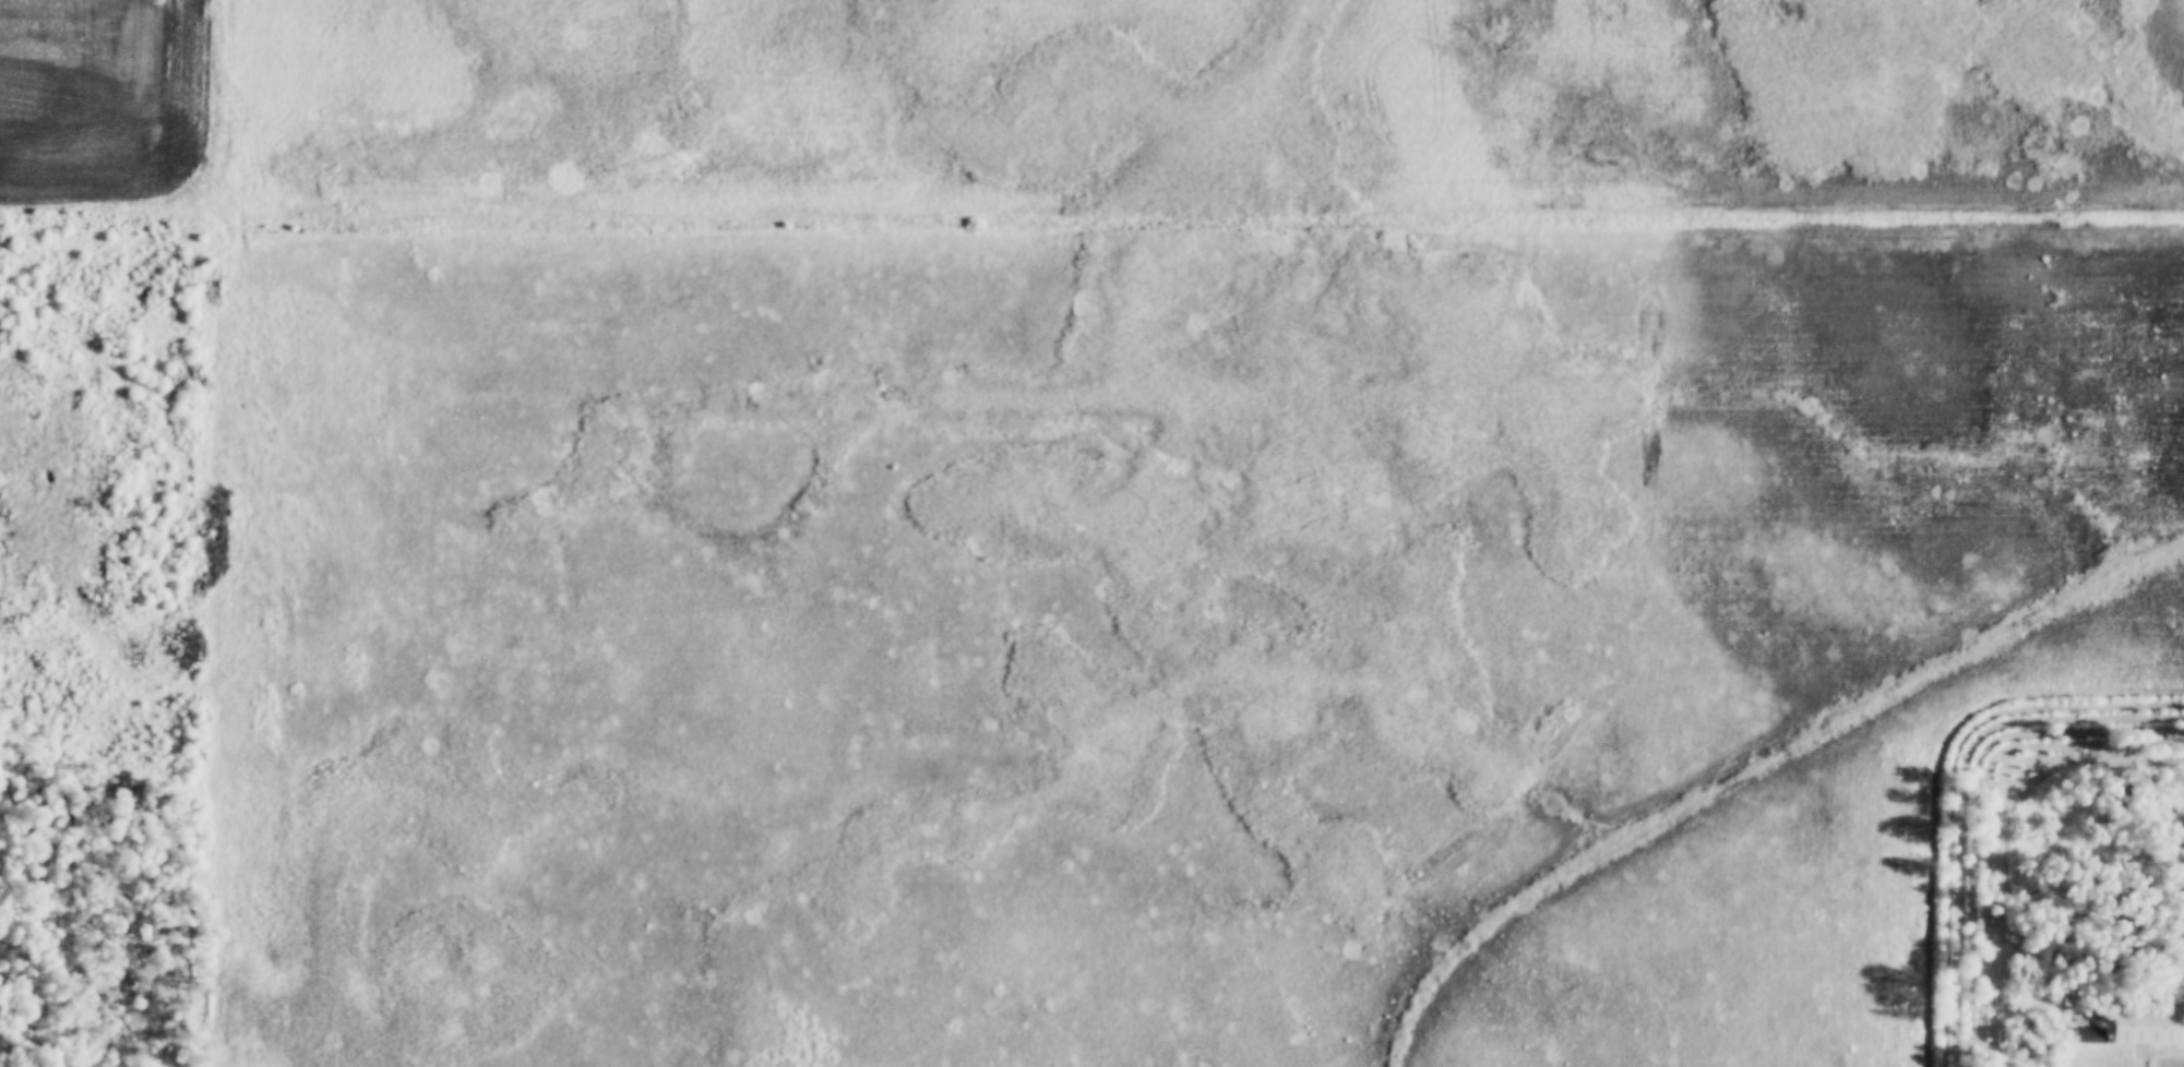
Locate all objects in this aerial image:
building: (2145, 1028)
building: (2089, 1035)

